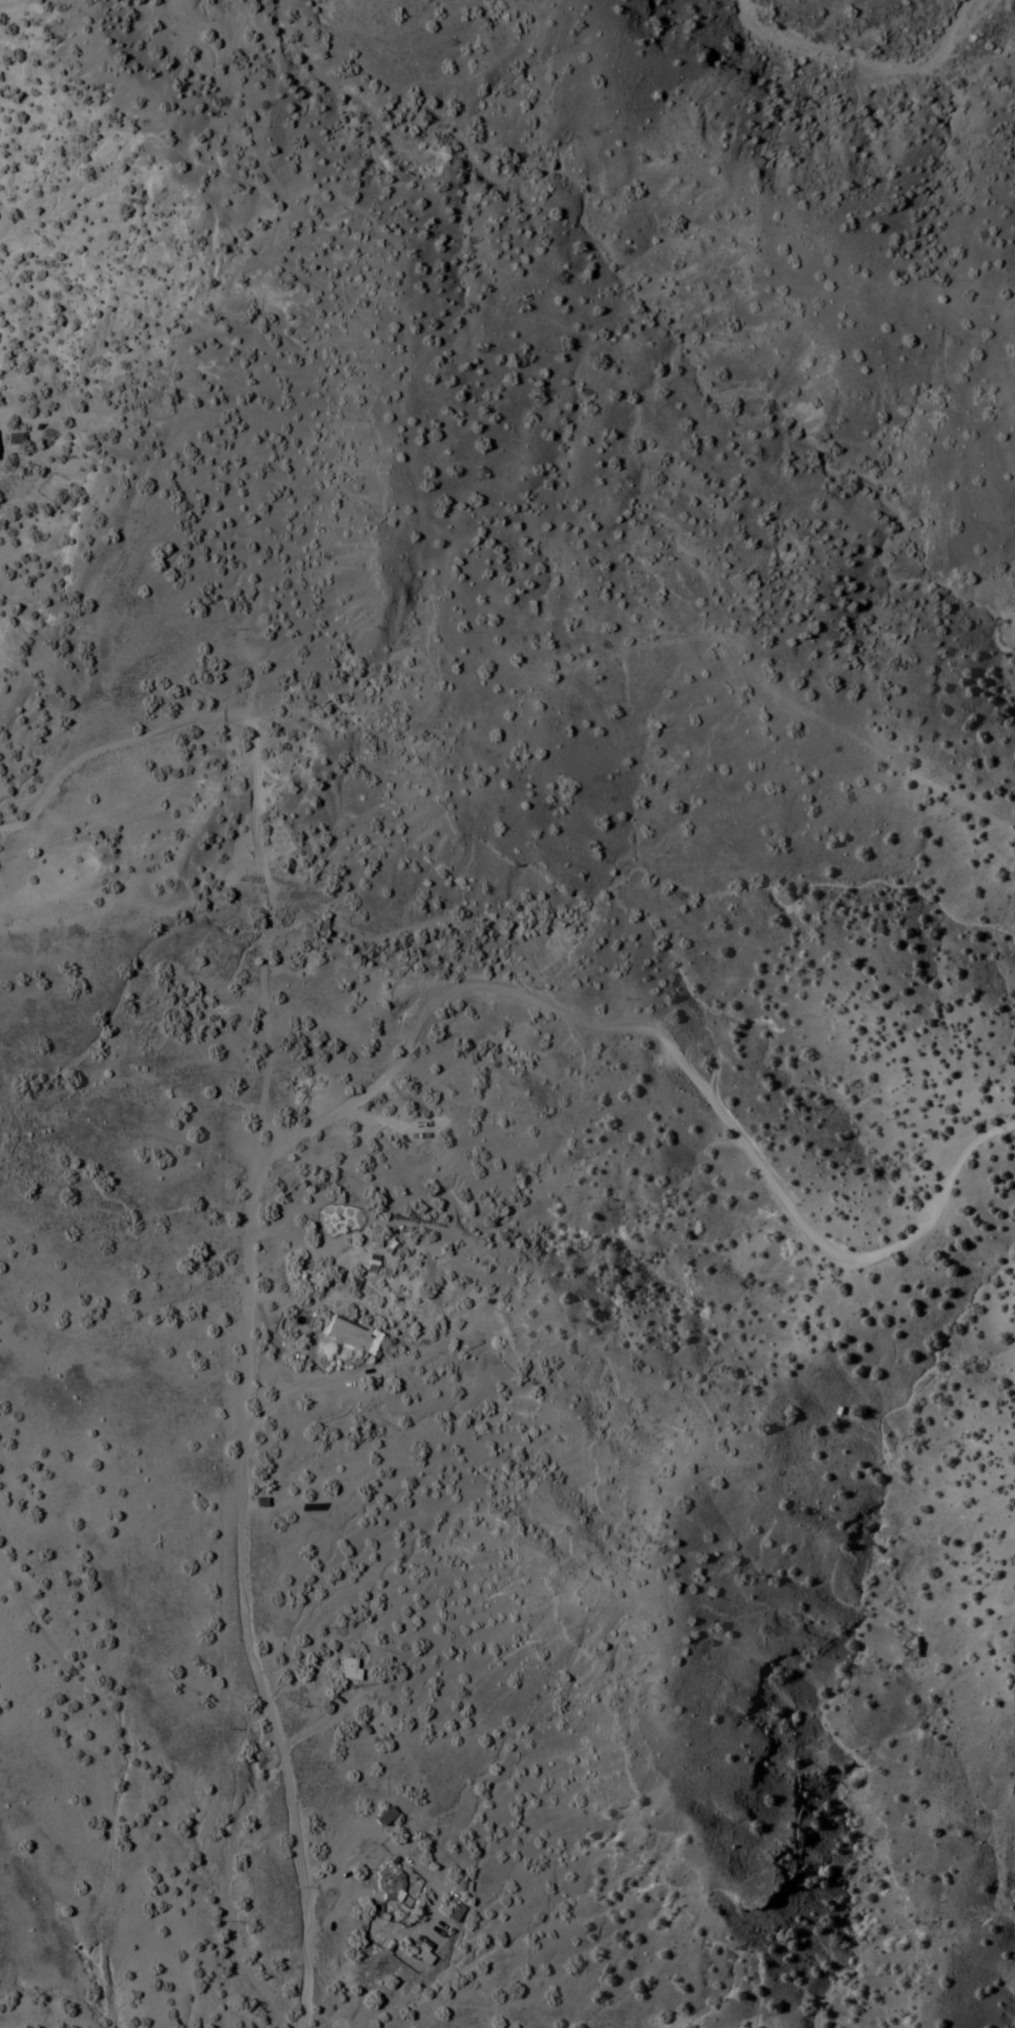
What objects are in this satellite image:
road: (62, 33)
building: (11, 438)
road: (262, 1012)
road: (660, 1056)
building: (348, 1334)
building: (346, 1669)
building: (396, 1880)
building: (454, 1913)
building: (420, 1953)

